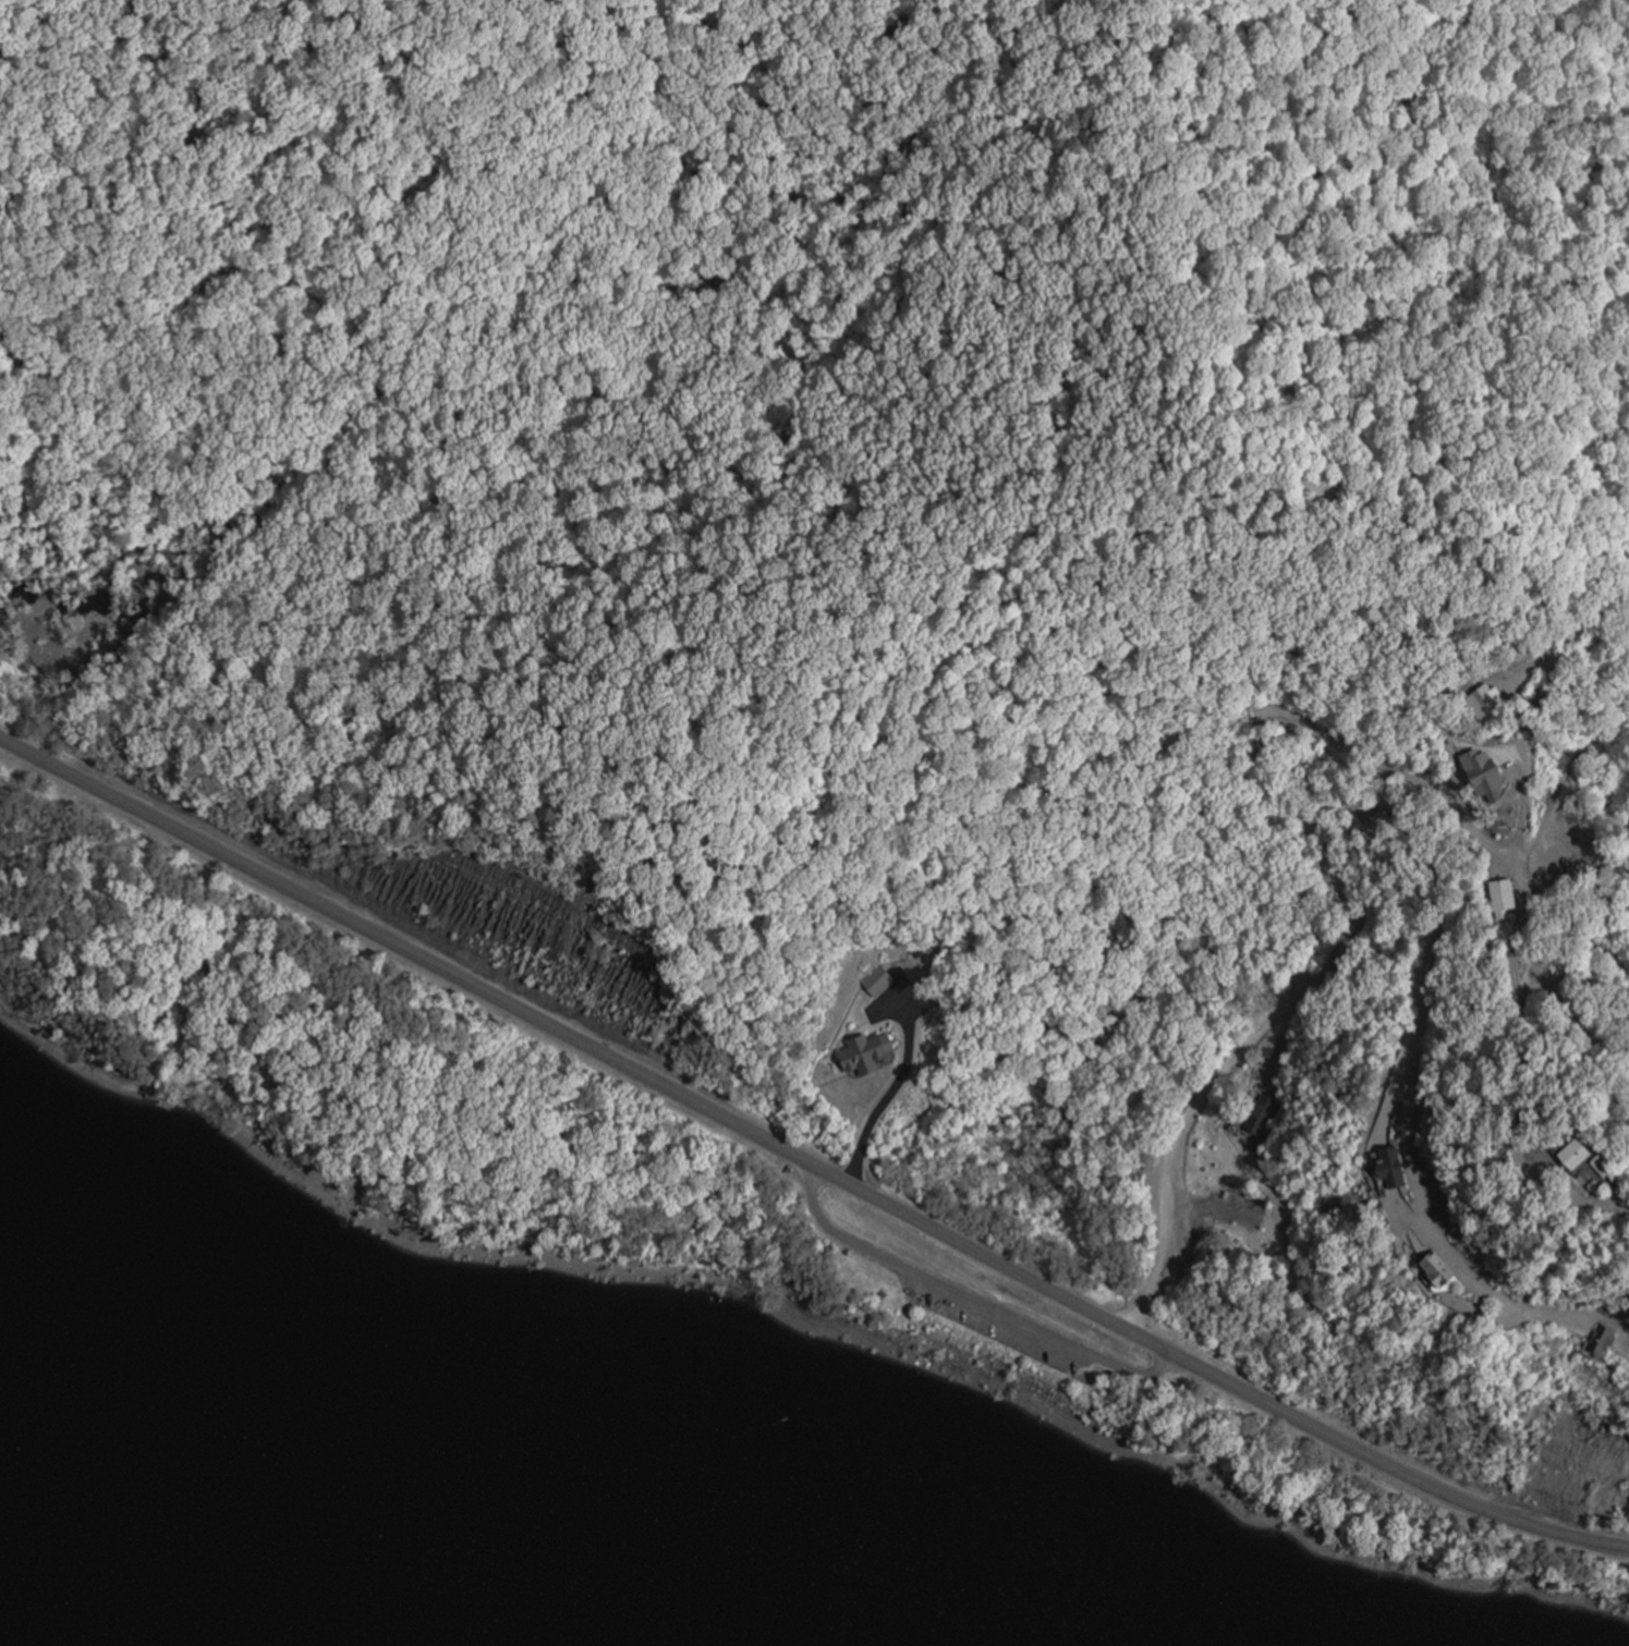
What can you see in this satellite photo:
road: (1256, 704)
road: (1530, 797)
building: (1499, 893)
road: (1405, 1086)
road: (892, 1097)
building: (1542, 1155)
road: (806, 1161)
building: (1377, 1168)
building: (1572, 1169)
building: (1415, 1268)
road: (969, 1294)
parking lot: (1010, 1322)
building: (1583, 1343)

